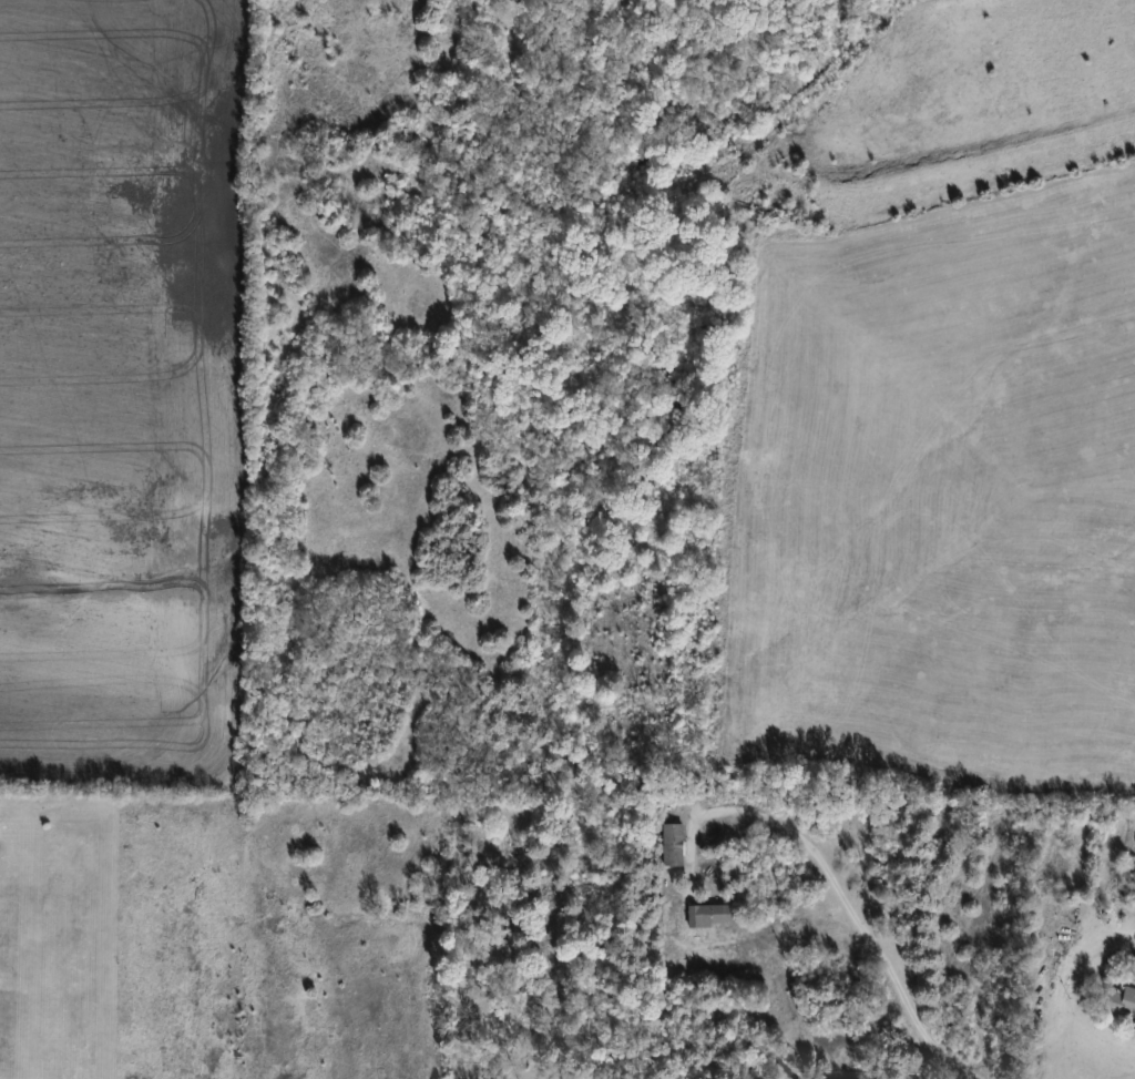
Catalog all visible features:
road: (831, 888)
building: (1127, 999)

